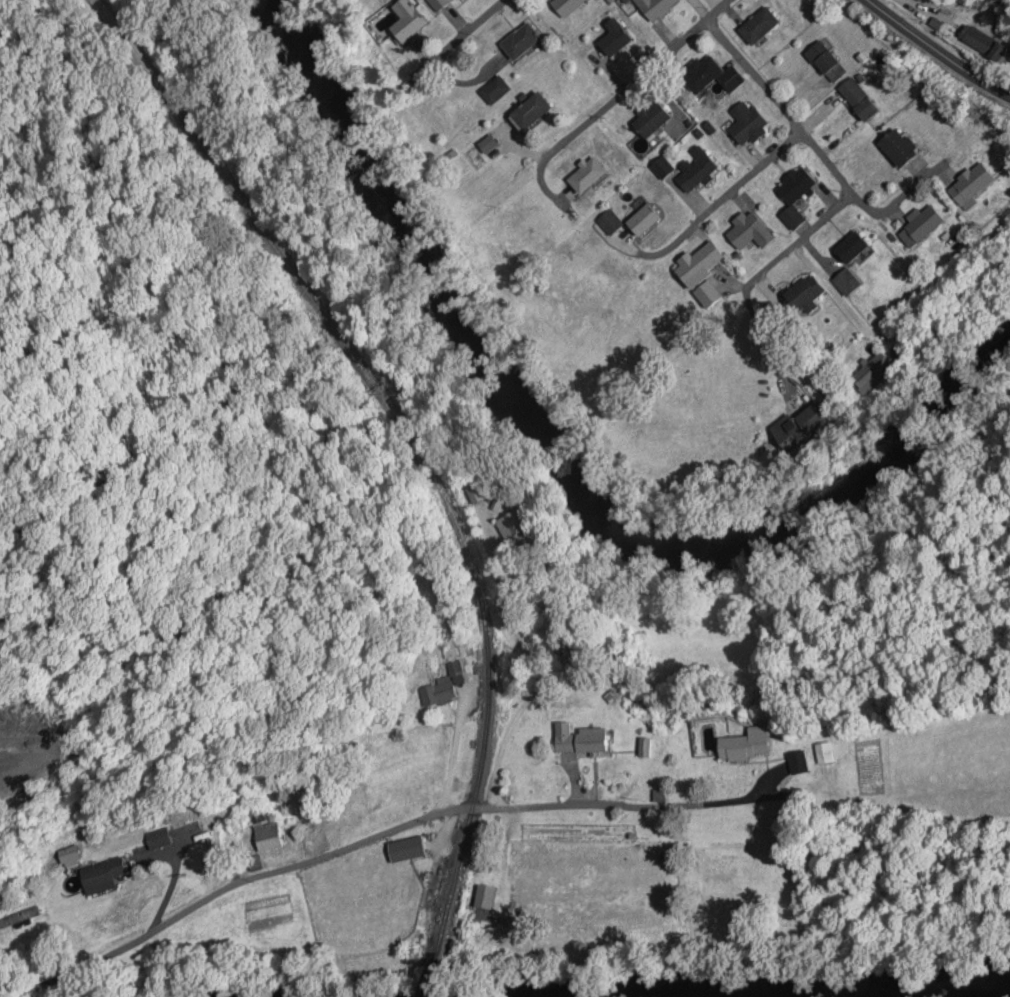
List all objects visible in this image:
building: (565, 6)
building: (655, 7)
building: (405, 21)
building: (758, 25)
road: (474, 26)
building: (519, 41)
building: (613, 41)
road: (937, 50)
building: (825, 61)
building: (710, 75)
road: (638, 79)
building: (857, 99)
building: (529, 111)
building: (649, 119)
building: (746, 124)
building: (896, 147)
road: (785, 148)
building: (696, 170)
building: (586, 174)
building: (970, 184)
building: (794, 195)
road: (870, 212)
building: (628, 220)
building: (920, 227)
building: (749, 231)
road: (803, 238)
building: (849, 259)
building: (696, 262)
building: (707, 294)
building: (803, 295)
building: (873, 374)
building: (800, 428)
railway: (419, 437)
river: (560, 472)
building: (478, 494)
building: (514, 526)
building: (439, 690)
building: (578, 739)
building: (745, 745)
building: (824, 752)
building: (798, 762)
building: (267, 836)
building: (155, 839)
road: (363, 840)
building: (405, 849)
building: (98, 878)
building: (483, 897)
railway: (429, 978)
river: (951, 987)

